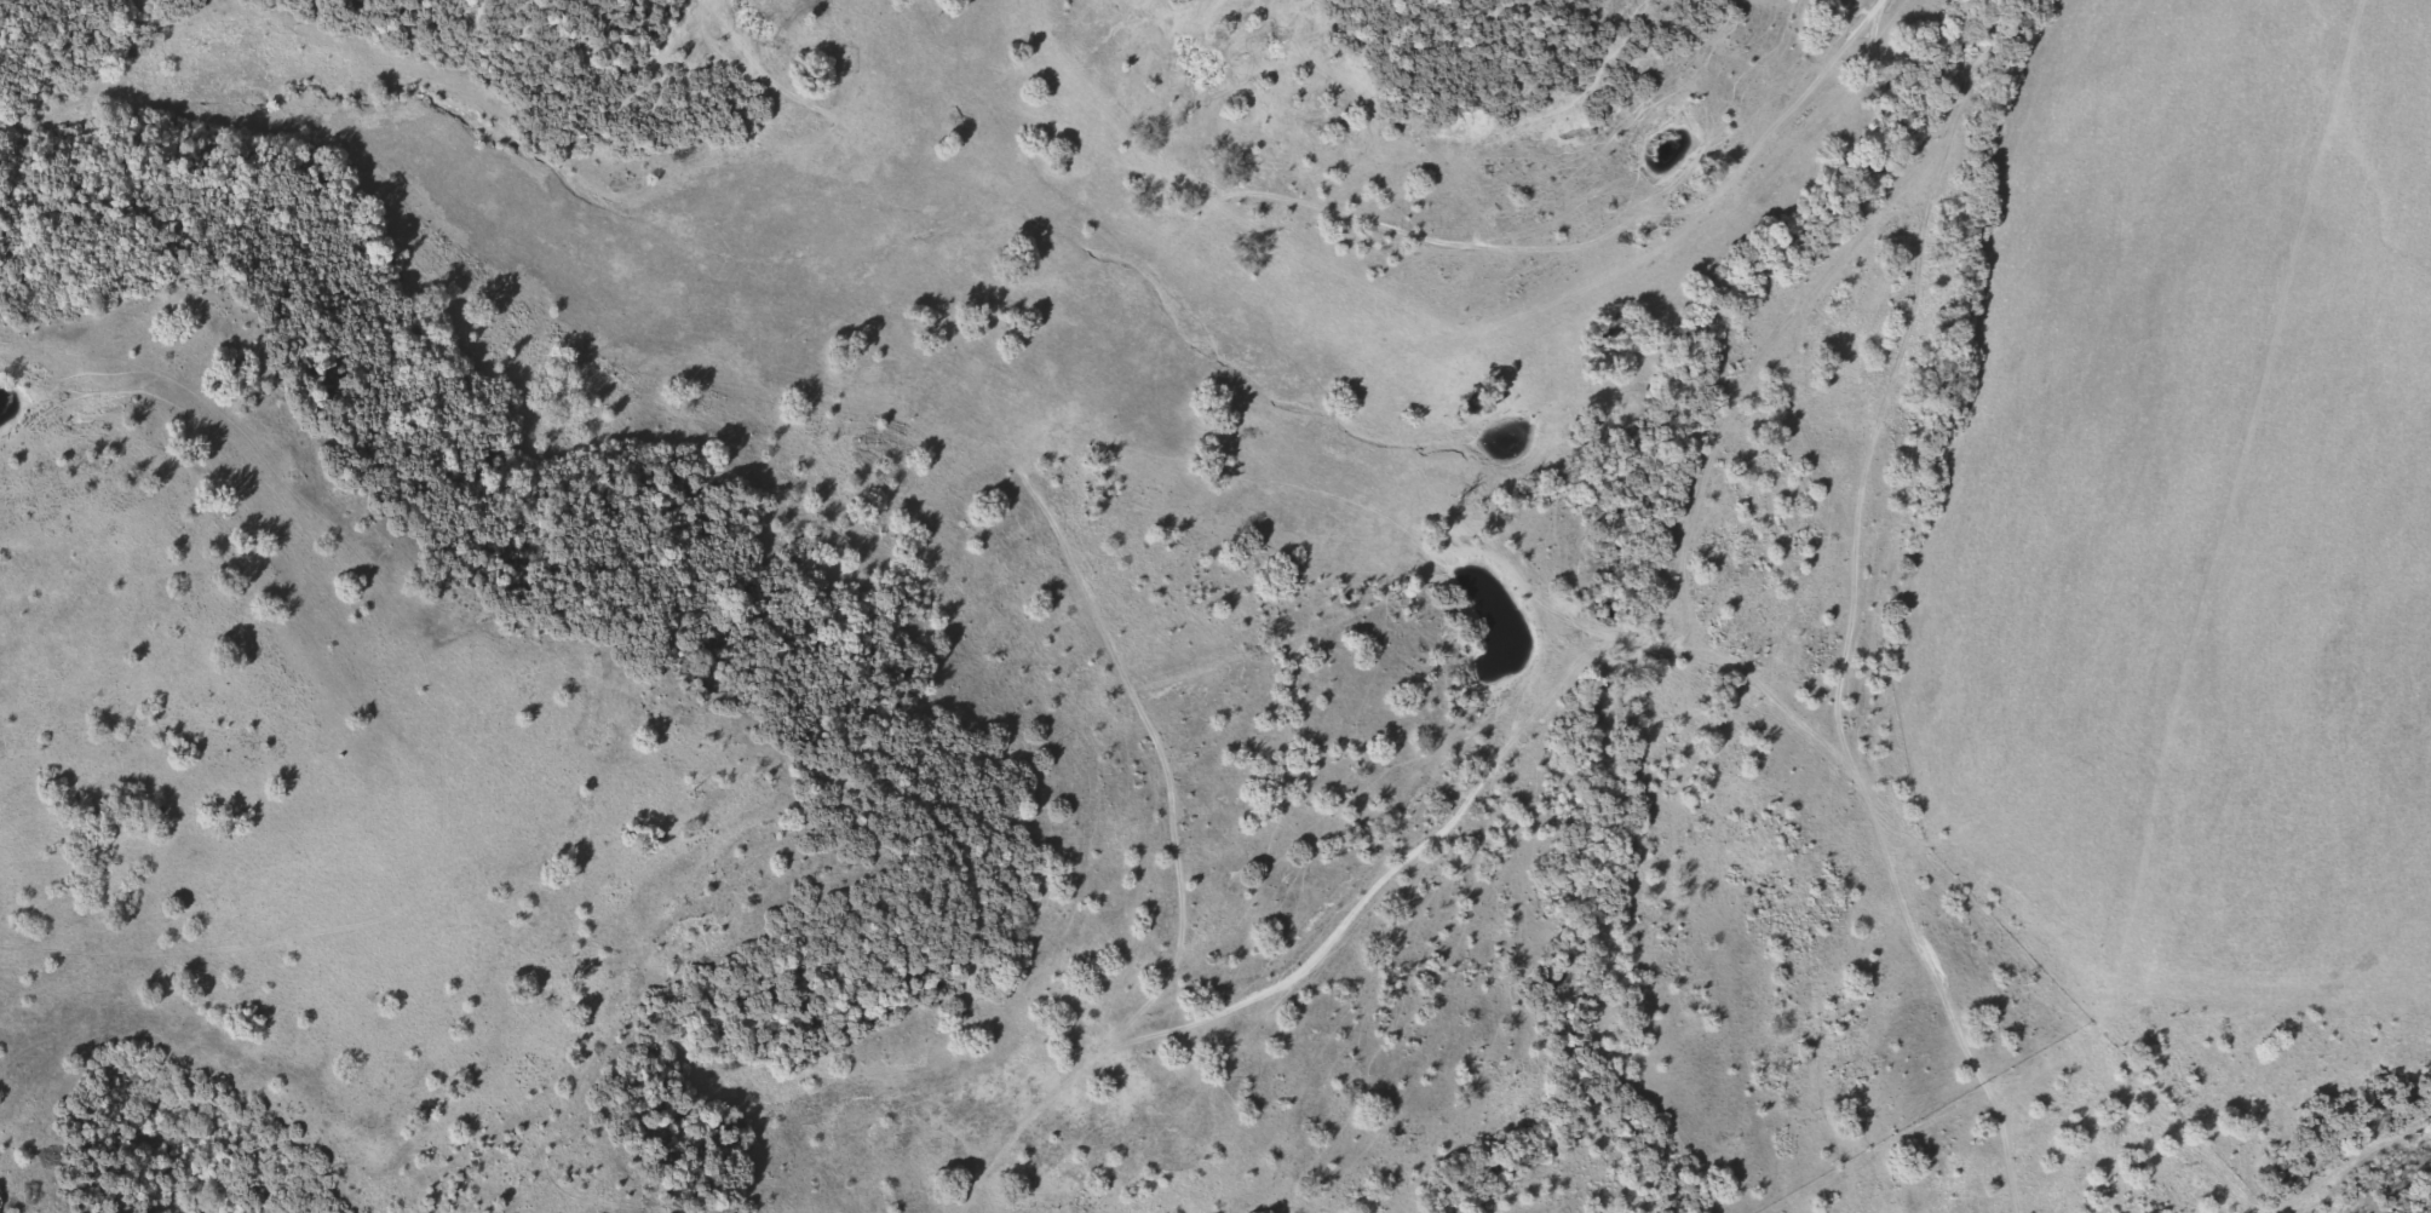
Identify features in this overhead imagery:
road: (1702, 212)
road: (1852, 604)
road: (1597, 642)
road: (1179, 879)
road: (1030, 1116)

